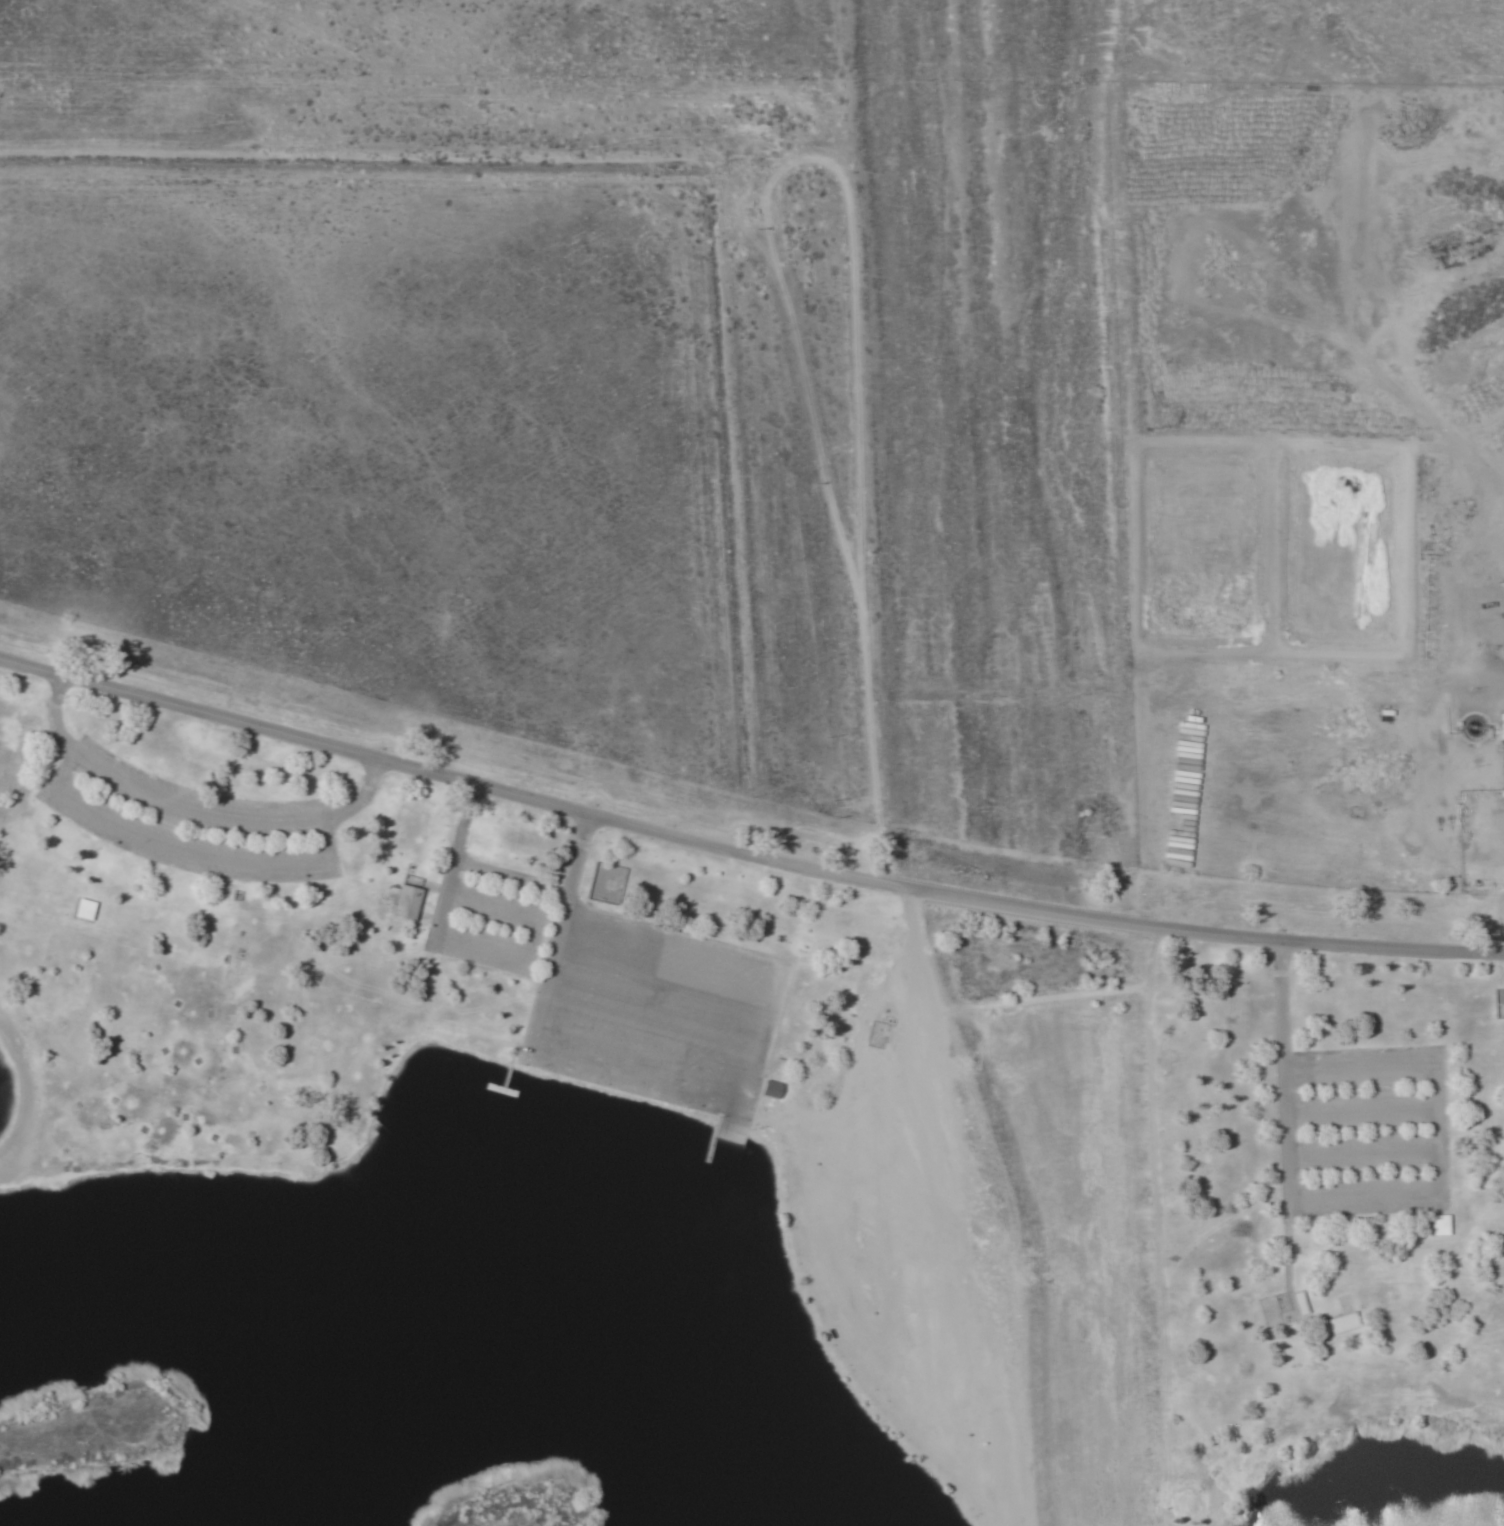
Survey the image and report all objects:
road: (810, 436)
road: (1133, 464)
building: (1502, 725)
road: (191, 808)
building: (1484, 816)
road: (184, 850)
road: (744, 851)
road: (449, 854)
road: (575, 889)
building: (403, 894)
building: (82, 910)
road: (491, 947)
road: (1274, 1068)
building: (771, 1088)
parking lot: (1365, 1131)
building: (1441, 1225)
building: (215, 1283)
building: (1299, 1303)
building: (1338, 1324)
building: (190, 1523)
building: (219, 1524)

